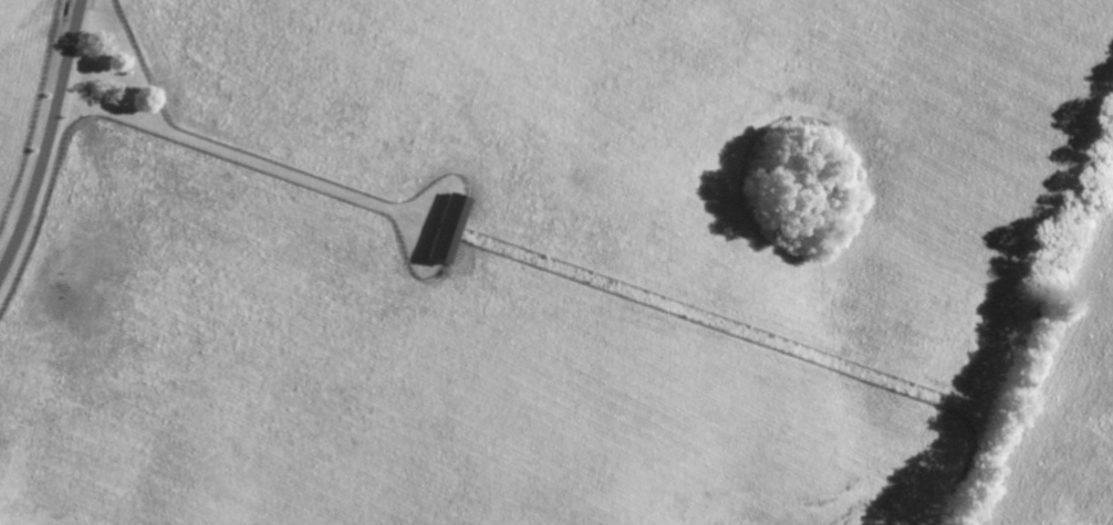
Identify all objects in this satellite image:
road: (48, 138)
building: (448, 228)
building: (37, 272)

